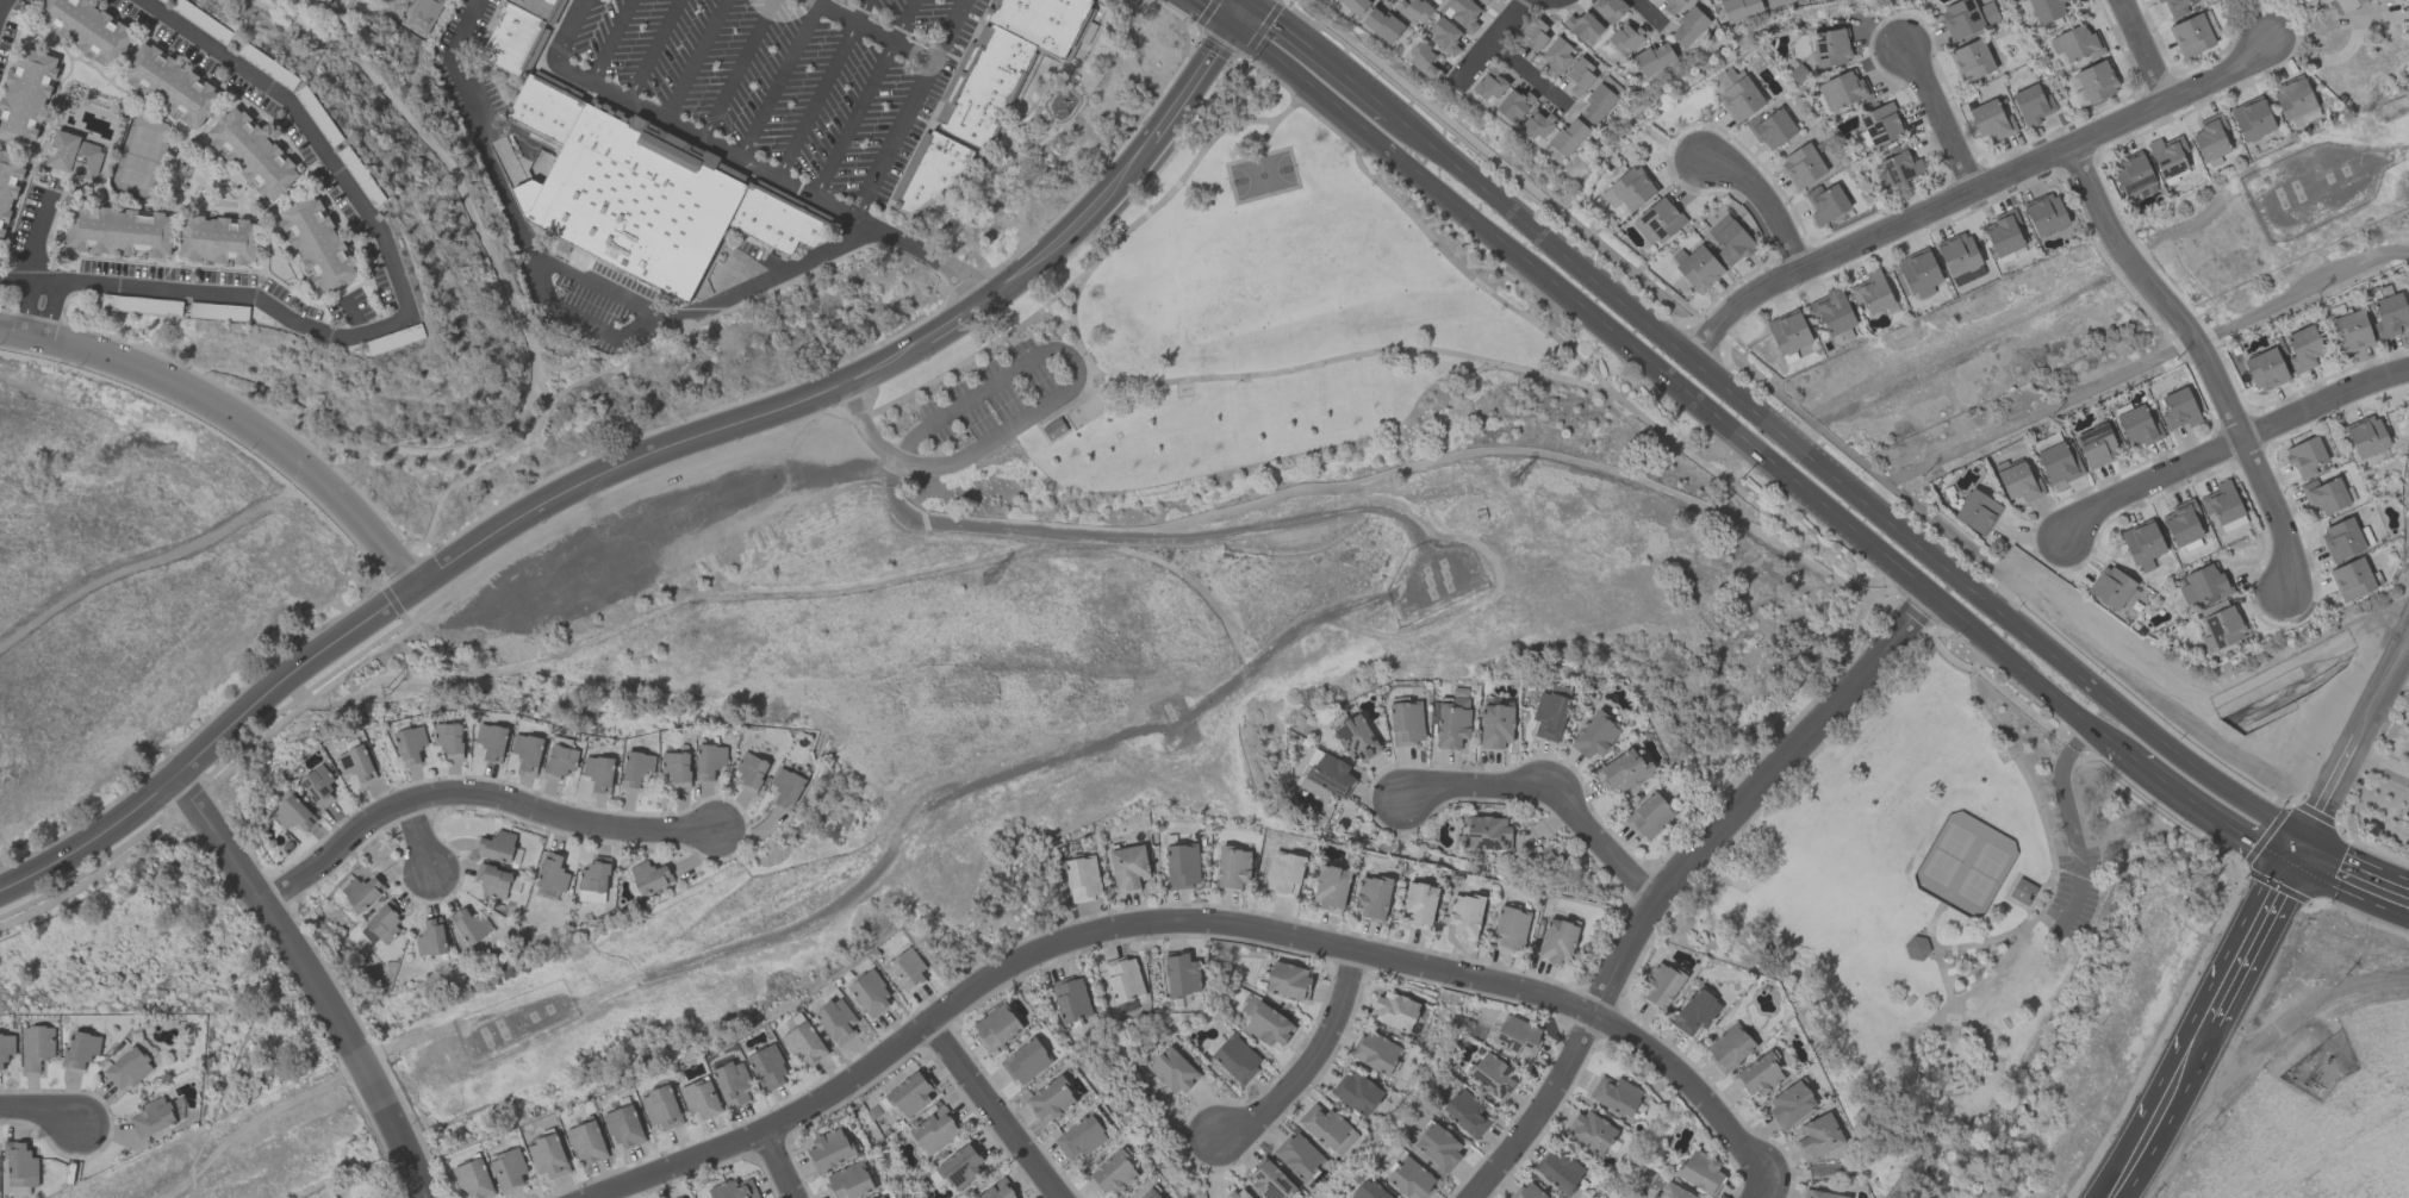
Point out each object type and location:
building: (328, 0)
building: (1434, 1)
building: (1483, 1)
road: (1, 2)
road: (1244, 2)
road: (1249, 2)
building: (1778, 2)
traffic signals: (1247, 5)
building: (1355, 5)
building: (1672, 5)
building: (2346, 5)
building: (539, 7)
building: (2175, 7)
building: (1608, 10)
building: (1736, 10)
building: (2047, 10)
building: (1412, 11)
road: (1213, 13)
building: (1462, 14)
building: (424, 15)
road: (1239, 15)
road: (1648, 15)
building: (1967, 18)
building: (1045, 21)
building: (1381, 25)
traffic signals: (1232, 26)
building: (1583, 27)
building: (1688, 27)
building: (86, 29)
road: (874, 29)
building: (1533, 35)
building: (1443, 36)
building: (2191, 36)
building: (1625, 38)
building: (516, 40)
road: (611, 40)
road: (1494, 42)
building: (2075, 44)
rooftop solar panel: (1822, 46)
building: (1831, 48)
road: (655, 50)
road: (2143, 52)
building: (1557, 56)
road: (1320, 57)
rooftop solar panel: (1824, 57)
building: (1652, 58)
road: (697, 60)
building: (1421, 60)
building: (1971, 61)
road: (739, 69)
road: (1230, 70)
road: (1529, 77)
building: (1580, 77)
road: (783, 79)
building: (2096, 81)
building: (169, 85)
road: (1193, 86)
building: (1489, 86)
road: (1219, 87)
building: (990, 88)
road: (823, 89)
building: (1842, 91)
road: (1287, 92)
building: (1737, 94)
building: (25, 96)
road: (865, 98)
building: (2293, 99)
road: (1297, 102)
building: (1596, 104)
building: (1513, 105)
building: (2033, 105)
building: (548, 111)
building: (2252, 119)
rooftop solar panel: (1868, 120)
road: (1938, 120)
building: (1991, 120)
road: (673, 123)
road: (1255, 123)
building: (1536, 126)
building: (1772, 129)
rooftop solar panel: (1874, 131)
road: (1264, 137)
building: (1568, 137)
building: (2210, 138)
rooftop solar panel: (1881, 139)
building: (251, 154)
building: (74, 155)
building: (2168, 157)
rooftop solar panel: (2165, 160)
building: (1900, 166)
building: (1801, 167)
rooftop solar panel: (2173, 170)
building: (938, 173)
rooftop solar panel: (1893, 174)
rooftop solar panel: (1907, 174)
park: (1263, 176)
building: (2133, 176)
road: (873, 179)
building: (8, 187)
building: (1630, 189)
road: (1972, 192)
building: (639, 204)
road: (1769, 204)
building: (1825, 204)
building: (2044, 214)
rooftop solar panel: (1650, 217)
road: (1140, 220)
building: (1660, 221)
road: (1077, 223)
building: (779, 224)
rooftop solar panel: (1657, 224)
building: (118, 231)
rooftop solar panel: (1663, 232)
building: (2004, 232)
road: (33, 236)
building: (218, 241)
building: (1730, 241)
building: (316, 243)
road: (583, 267)
building: (1699, 269)
building: (1918, 274)
rooftop solar panel: (1968, 276)
building: (1870, 293)
road: (33, 310)
building: (1831, 311)
road: (405, 312)
rooftop solar panel: (2341, 312)
building: (2389, 316)
road: (574, 318)
road: (1059, 318)
road: (951, 322)
road: (1075, 330)
building: (2351, 331)
building: (1788, 332)
building: (1842, 337)
building: (2303, 349)
road: (2204, 360)
road: (1496, 363)
building: (2265, 370)
road: (941, 375)
road: (1672, 380)
parking lot: (986, 393)
road: (1056, 401)
building: (2178, 410)
road: (1044, 416)
road: (231, 418)
building: (2137, 428)
building: (1054, 430)
building: (2366, 437)
road: (2230, 445)
building: (2096, 447)
building: (2305, 457)
building: (2059, 462)
power tower: (1526, 475)
building: (2018, 482)
road: (1842, 486)
road: (1743, 494)
building: (2324, 495)
building: (2223, 507)
building: (1977, 512)
park: (1185, 516)
building: (2183, 523)
road: (1121, 534)
building: (2341, 539)
building: (2142, 544)
road: (143, 573)
power tower: (998, 575)
road: (1183, 576)
road: (428, 578)
building: (2352, 580)
building: (2204, 584)
building: (2110, 587)
road: (712, 600)
road: (1344, 607)
rooftop solar panel: (2215, 629)
building: (2222, 629)
road: (2408, 635)
power tower: (379, 688)
building: (1549, 716)
building: (1452, 723)
building: (1407, 724)
building: (1496, 726)
rooftop solar panel: (1345, 732)
building: (1593, 736)
building: (449, 740)
building: (1355, 740)
road: (2353, 741)
building: (491, 742)
building: (410, 744)
road: (2122, 749)
building: (527, 753)
road: (2364, 754)
building: (709, 761)
building: (559, 762)
building: (356, 763)
road: (2392, 766)
building: (636, 769)
building: (676, 769)
building: (1624, 770)
building: (749, 772)
road: (1244, 772)
building: (598, 773)
building: (1325, 775)
rooftop solar panel: (1328, 781)
rooftop solar panel: (310, 785)
building: (318, 786)
building: (785, 788)
rooftop solar panel: (326, 791)
road: (1549, 794)
road: (474, 797)
rooftop solar panel: (318, 798)
building: (293, 815)
road: (2211, 816)
building: (1649, 817)
road: (2069, 820)
building: (1487, 834)
rooftop solar panel: (1475, 836)
rooftop solar panel: (1505, 841)
road: (421, 842)
rooftop solar panel: (1490, 844)
road: (2062, 844)
building: (496, 847)
park: (1948, 855)
road: (2052, 857)
building: (1182, 866)
building: (1128, 868)
building: (1232, 868)
building: (552, 873)
building: (1284, 873)
road: (2354, 874)
park: (1982, 875)
building: (648, 876)
road: (1674, 876)
building: (1082, 879)
building: (493, 880)
building: (593, 881)
building: (1330, 887)
building: (2023, 892)
parking lot: (2075, 893)
building: (360, 894)
building: (1372, 898)
building: (1418, 904)
building: (1464, 916)
road: (1184, 923)
building: (381, 925)
building: (471, 926)
building: (1509, 930)
park: (1965, 930)
road: (2254, 935)
road: (634, 936)
road: (760, 937)
building: (430, 938)
building: (1557, 942)
building: (1916, 948)
building: (905, 971)
building: (1182, 977)
building: (1123, 979)
building: (1288, 980)
road: (309, 982)
building: (1661, 986)
road: (1977, 988)
building: (870, 994)
building: (1070, 1000)
building: (1394, 1011)
building: (1697, 1012)
building: (836, 1021)
building: (1268, 1025)
building: (996, 1028)
building: (1517, 1036)
building: (804, 1044)
building: (6, 1048)
building: (36, 1048)
building: (1729, 1048)
building: (80, 1050)
building: (1376, 1053)
building: (1235, 1059)
building: (1026, 1061)
road: (1312, 1063)
building: (127, 1068)
building: (767, 1068)
building: (1172, 1071)
building: (1490, 1075)
building: (1758, 1077)
road: (2178, 1079)
rooftop solar panel: (1482, 1081)
building: (733, 1084)
rooftop solar panel: (1509, 1090)
building: (1357, 1093)
road: (1948, 1093)
building: (909, 1096)
building: (1614, 1096)
building: (701, 1099)
building: (1051, 1099)
building: (1791, 1104)
building: (661, 1107)
road: (995, 1110)
road: (39, 1113)
building: (1467, 1115)
building: (152, 1117)
building: (624, 1128)
building: (1326, 1128)
building: (934, 1131)
building: (1591, 1131)
building: (1081, 1137)
building: (1818, 1137)
building: (587, 1143)
building: (1438, 1147)
building: (829, 1150)
building: (548, 1156)
building: (1297, 1156)
building: (20, 1165)
road: (780, 1165)
building: (960, 1167)
road: (2128, 1167)
building: (508, 1169)
building: (1558, 1171)
building: (1700, 1172)
building: (1114, 1174)
rooftop solar panel: (959, 1178)
rooftop solar panel: (1259, 1178)
building: (474, 1179)
building: (1266, 1179)
building: (1411, 1179)
building: (849, 1181)
rooftop solar panel: (1283, 1185)
building: (733, 1190)
road: (1757, 1190)
building: (997, 1191)
building: (1368, 1191)
building: (1527, 1191)
building: (1673, 1192)
building: (1149, 1193)
building: (1238, 1193)
building: (1818, 1194)
rooftop solar panel: (1275, 1196)
building: (880, 1197)

